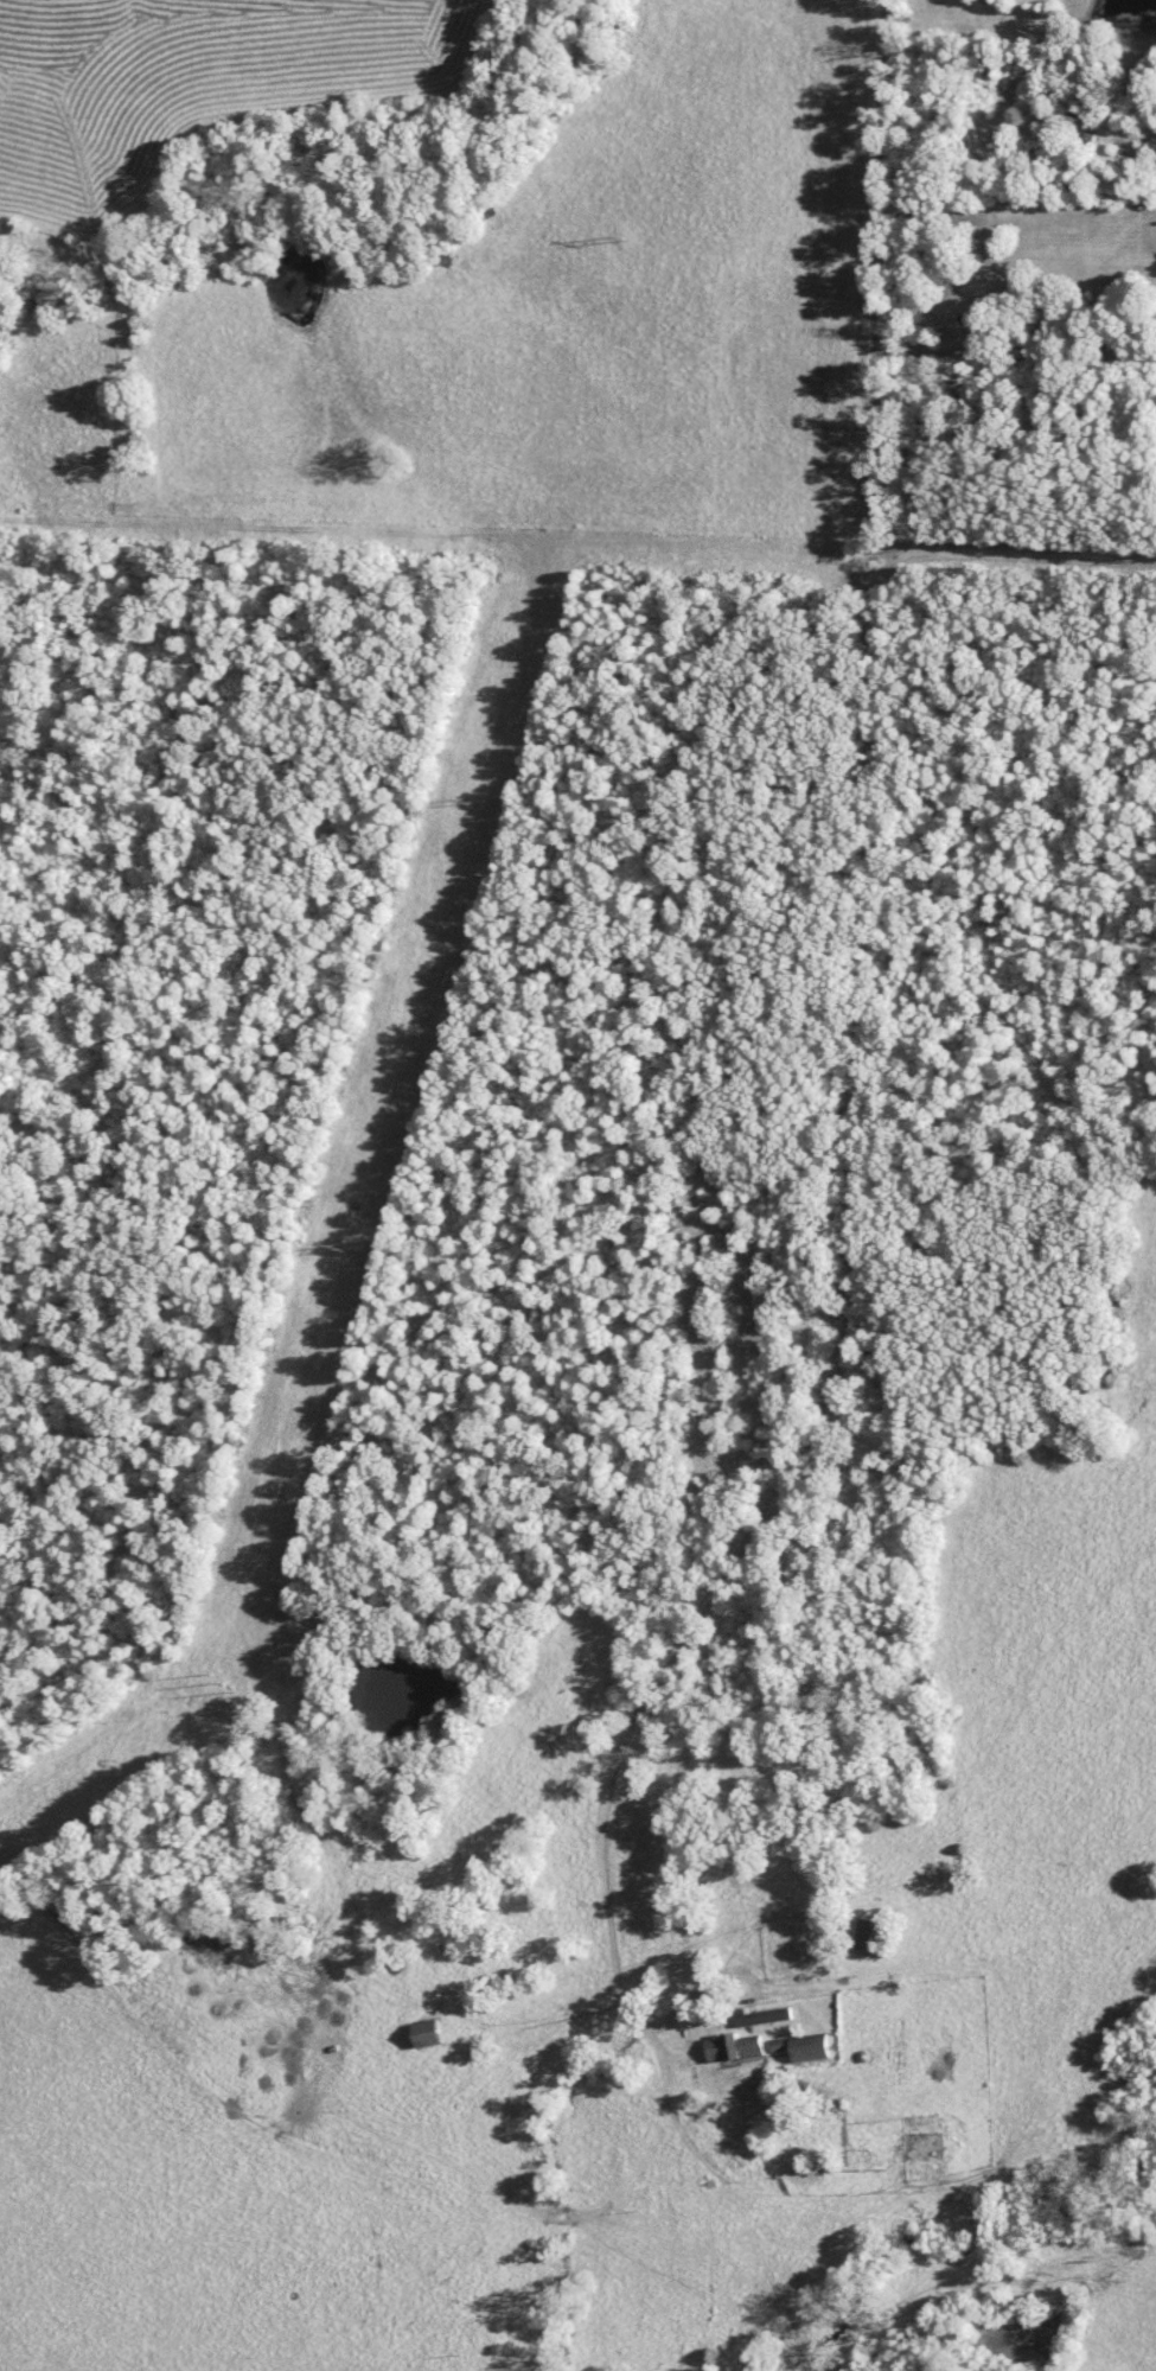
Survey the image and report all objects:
road: (851, 1220)
building: (873, 1936)
building: (768, 2016)
building: (432, 2038)
building: (739, 2047)
building: (815, 2047)
building: (928, 2148)

